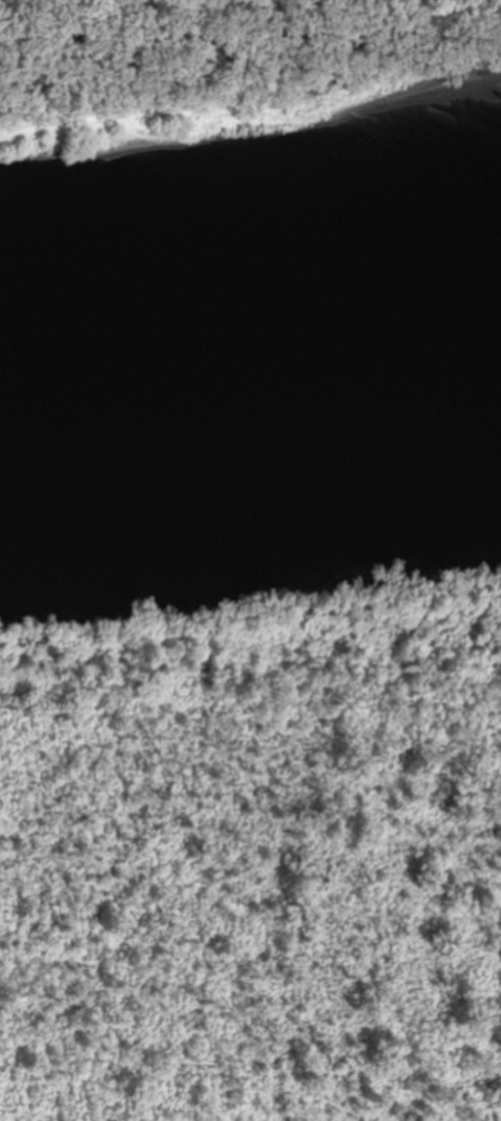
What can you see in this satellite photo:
river: (250, 371)
park: (252, 737)

